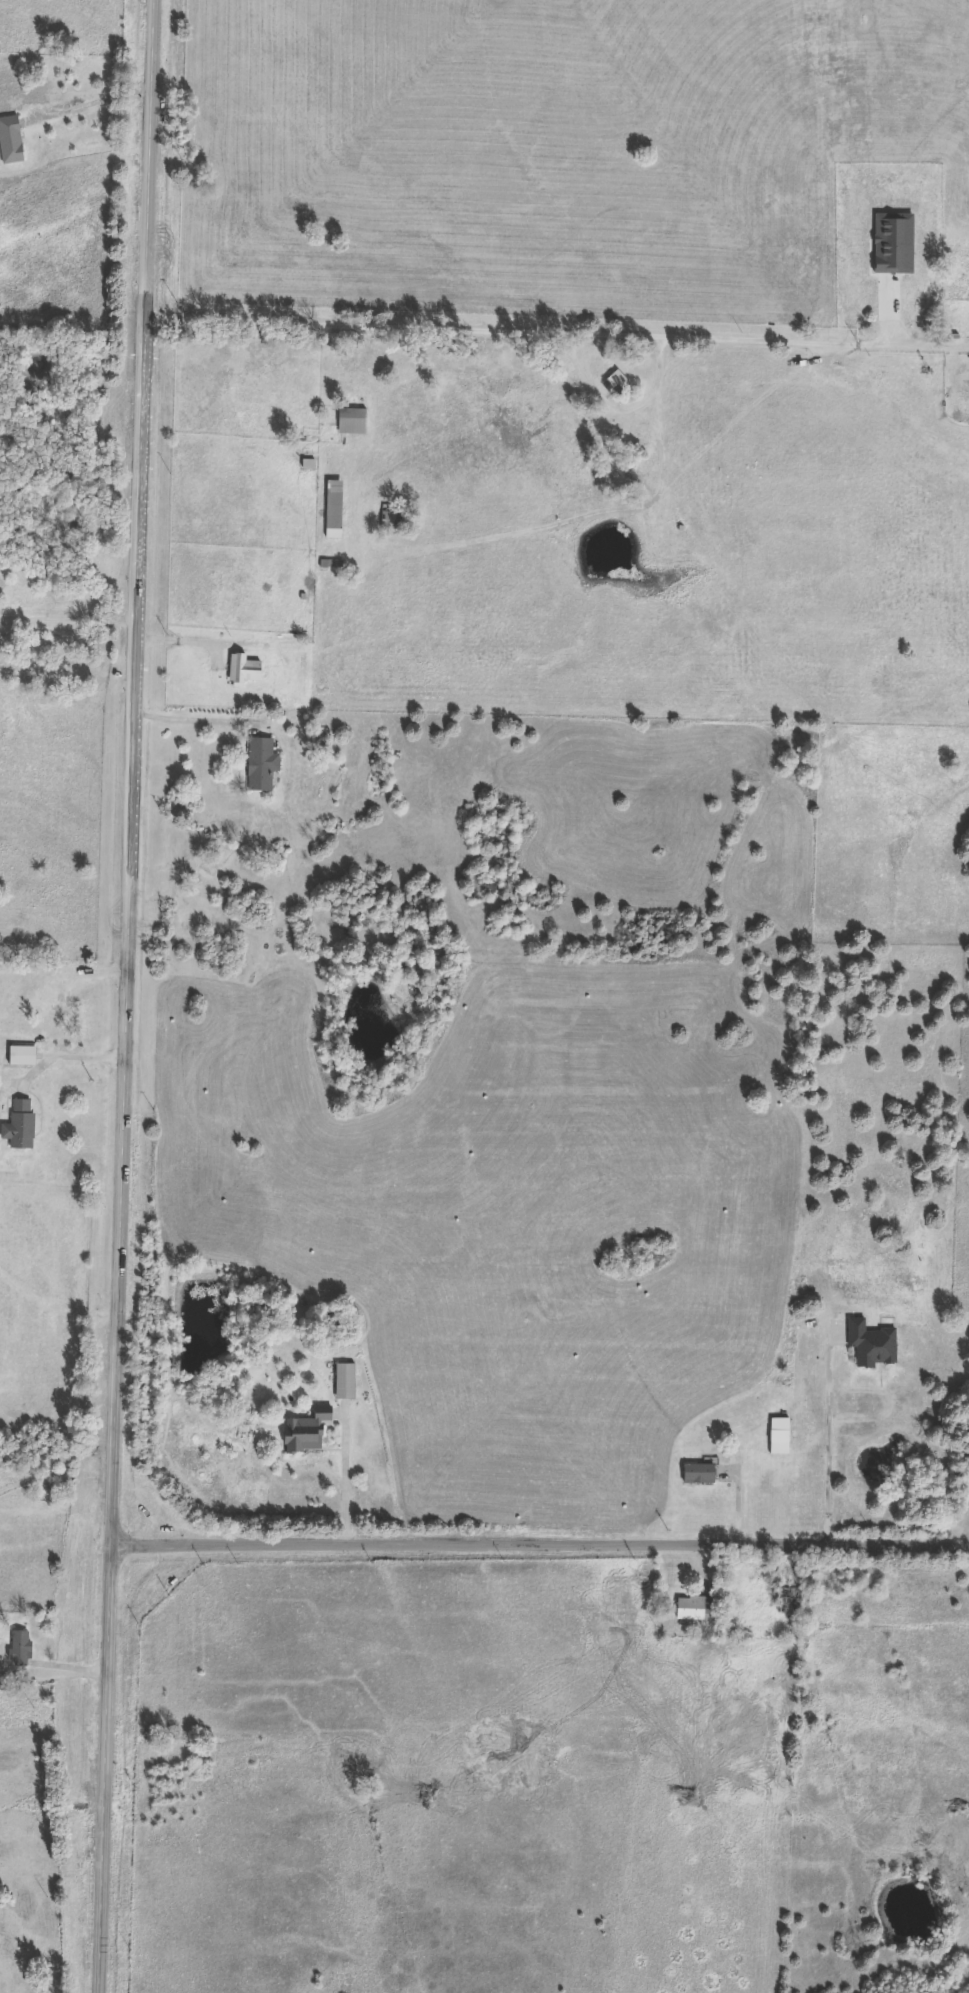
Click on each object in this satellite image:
road: (97, 99)
building: (11, 141)
building: (898, 245)
building: (892, 302)
road: (538, 324)
road: (946, 338)
building: (620, 383)
building: (354, 422)
building: (335, 510)
building: (393, 519)
road: (72, 611)
building: (247, 671)
road: (203, 712)
building: (263, 764)
road: (133, 996)
road: (89, 1049)
building: (24, 1057)
building: (22, 1126)
road: (55, 1309)
building: (838, 1335)
building: (873, 1345)
building: (347, 1382)
building: (308, 1432)
building: (781, 1436)
road: (831, 1444)
building: (700, 1475)
road: (348, 1477)
road: (741, 1500)
road: (543, 1538)
building: (791, 1602)
building: (694, 1608)
building: (22, 1649)
road: (77, 1663)
building: (1, 1674)

